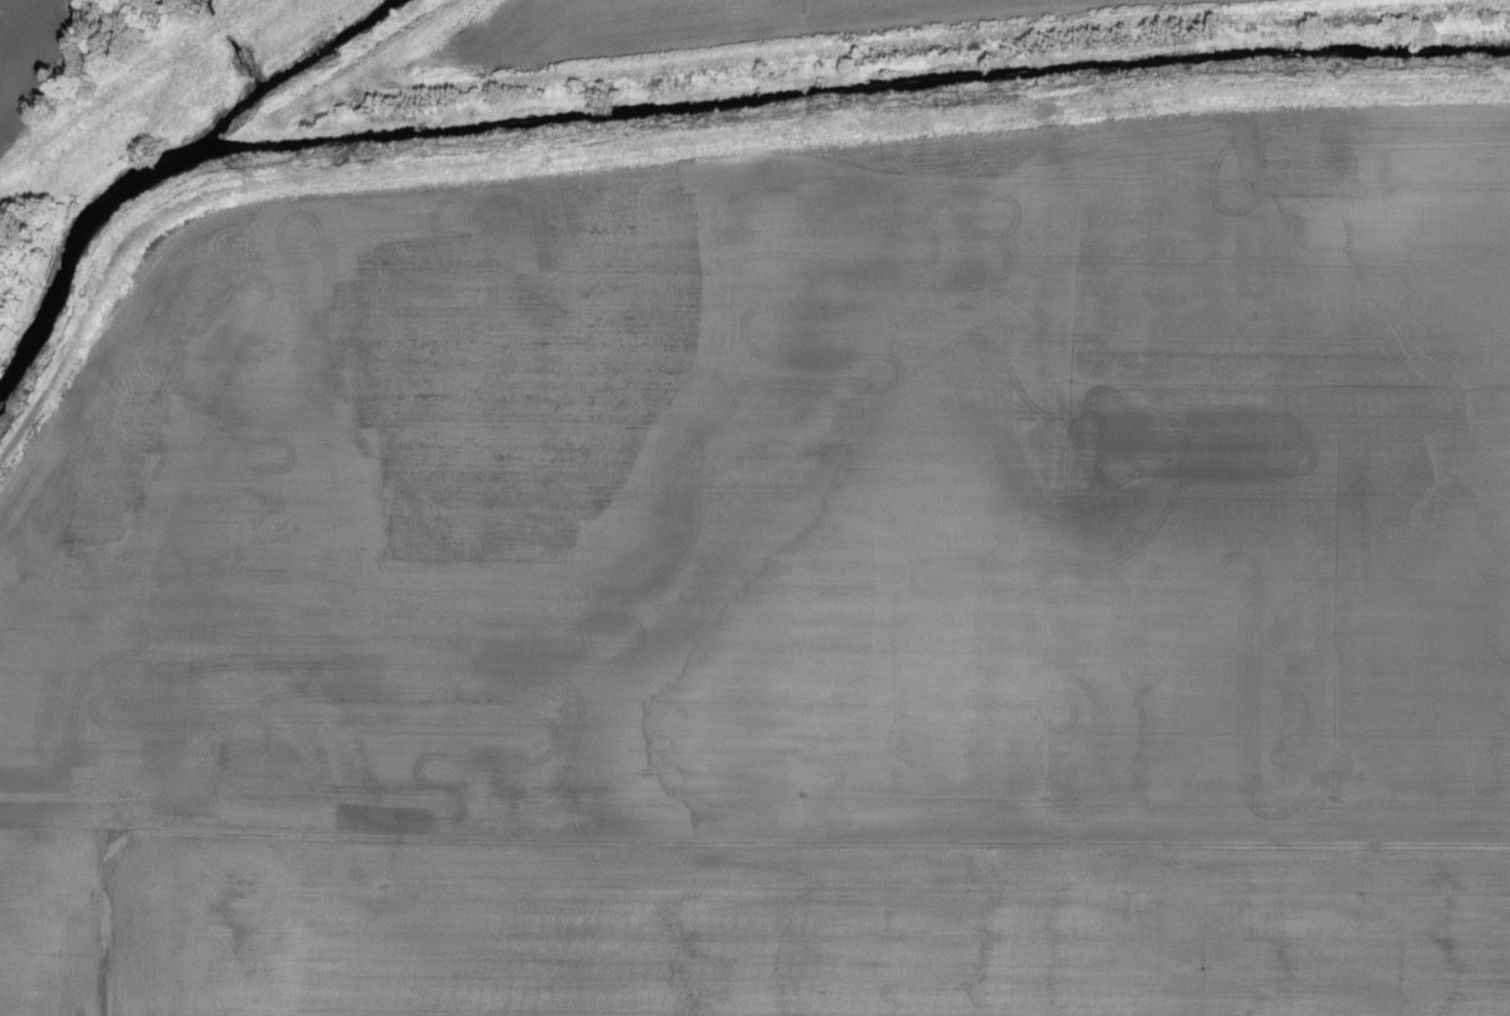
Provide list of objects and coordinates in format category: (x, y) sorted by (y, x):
river: (840, 90)
river: (69, 265)
road: (793, 844)
road: (108, 948)

